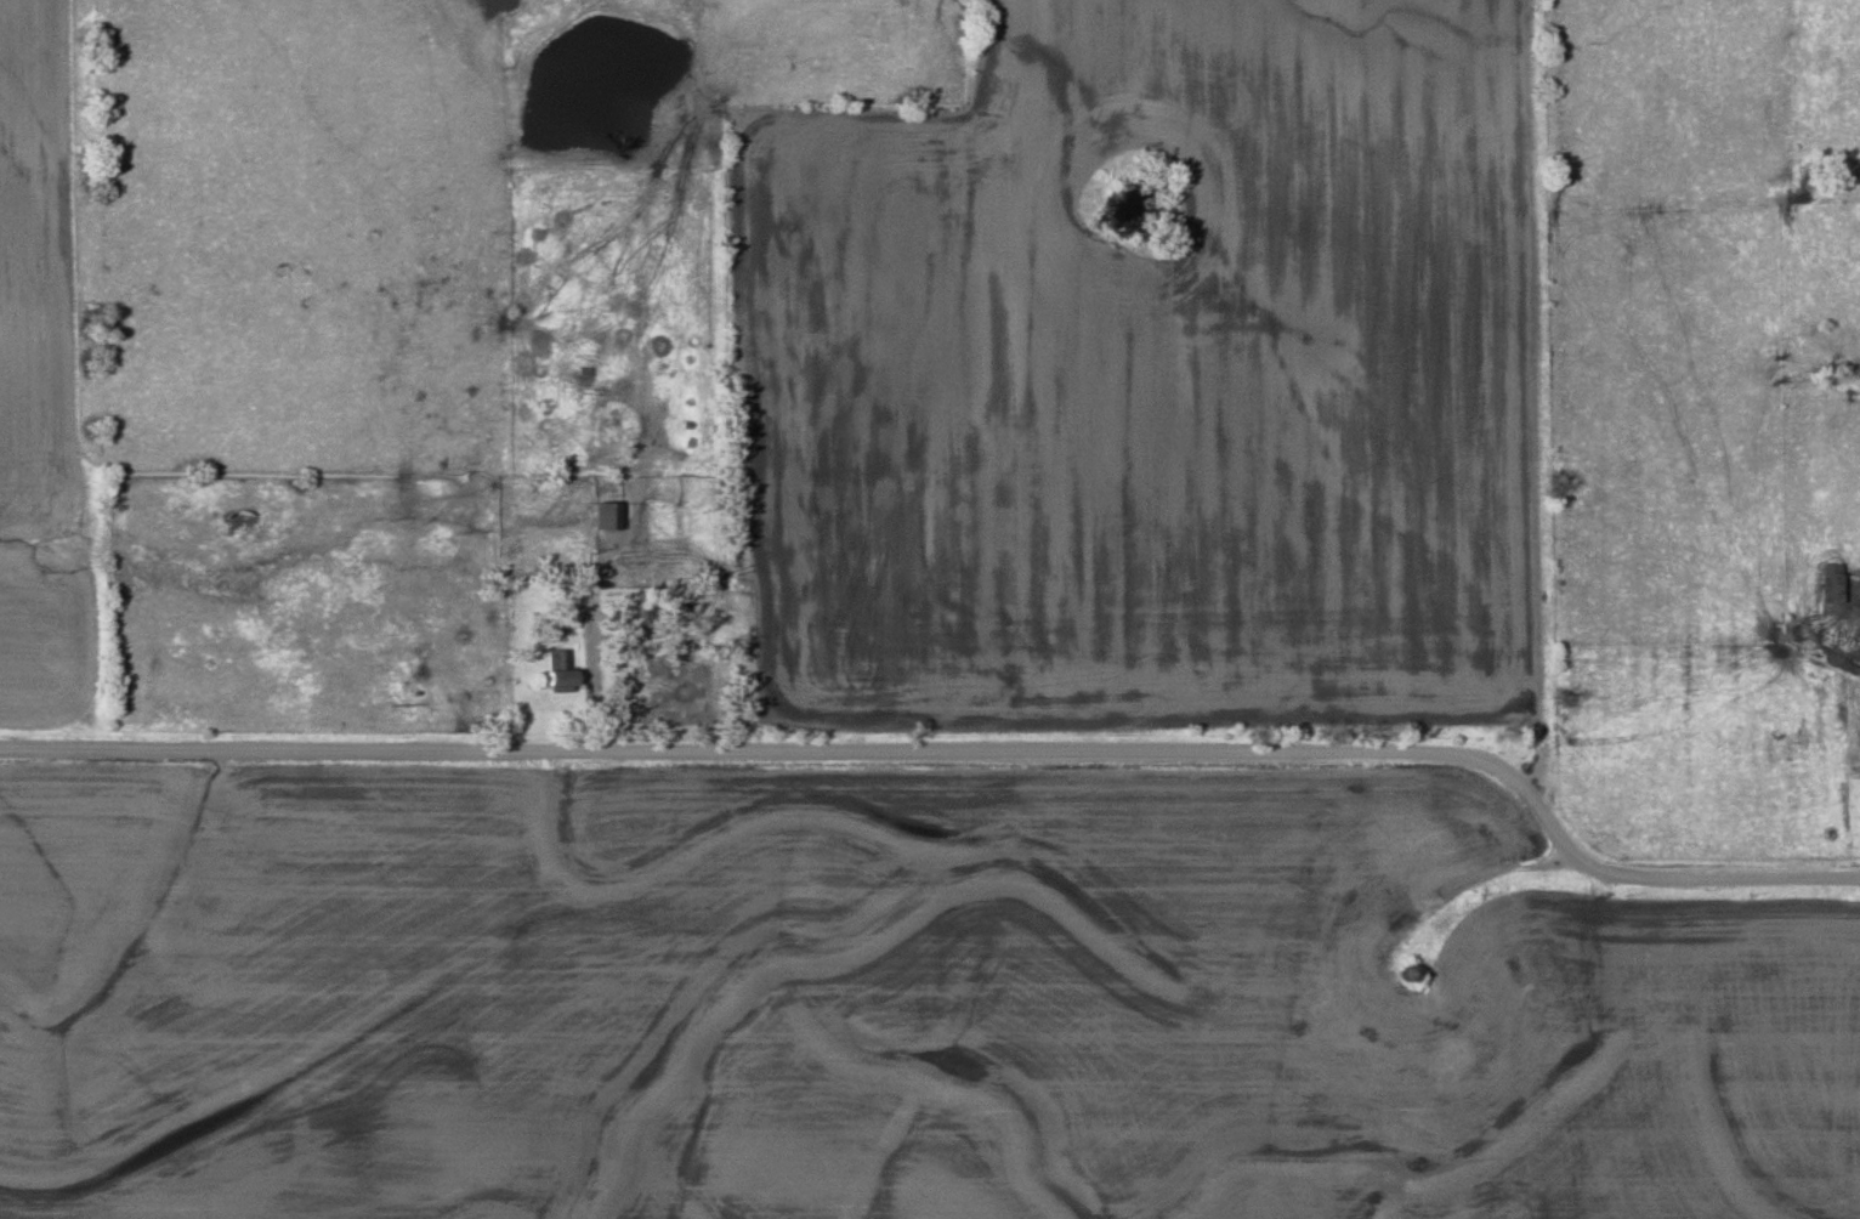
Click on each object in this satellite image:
building: (1828, 584)
building: (558, 675)
road: (954, 753)
road: (1454, 880)
building: (1371, 920)
building: (1376, 1014)
building: (1478, 1025)

